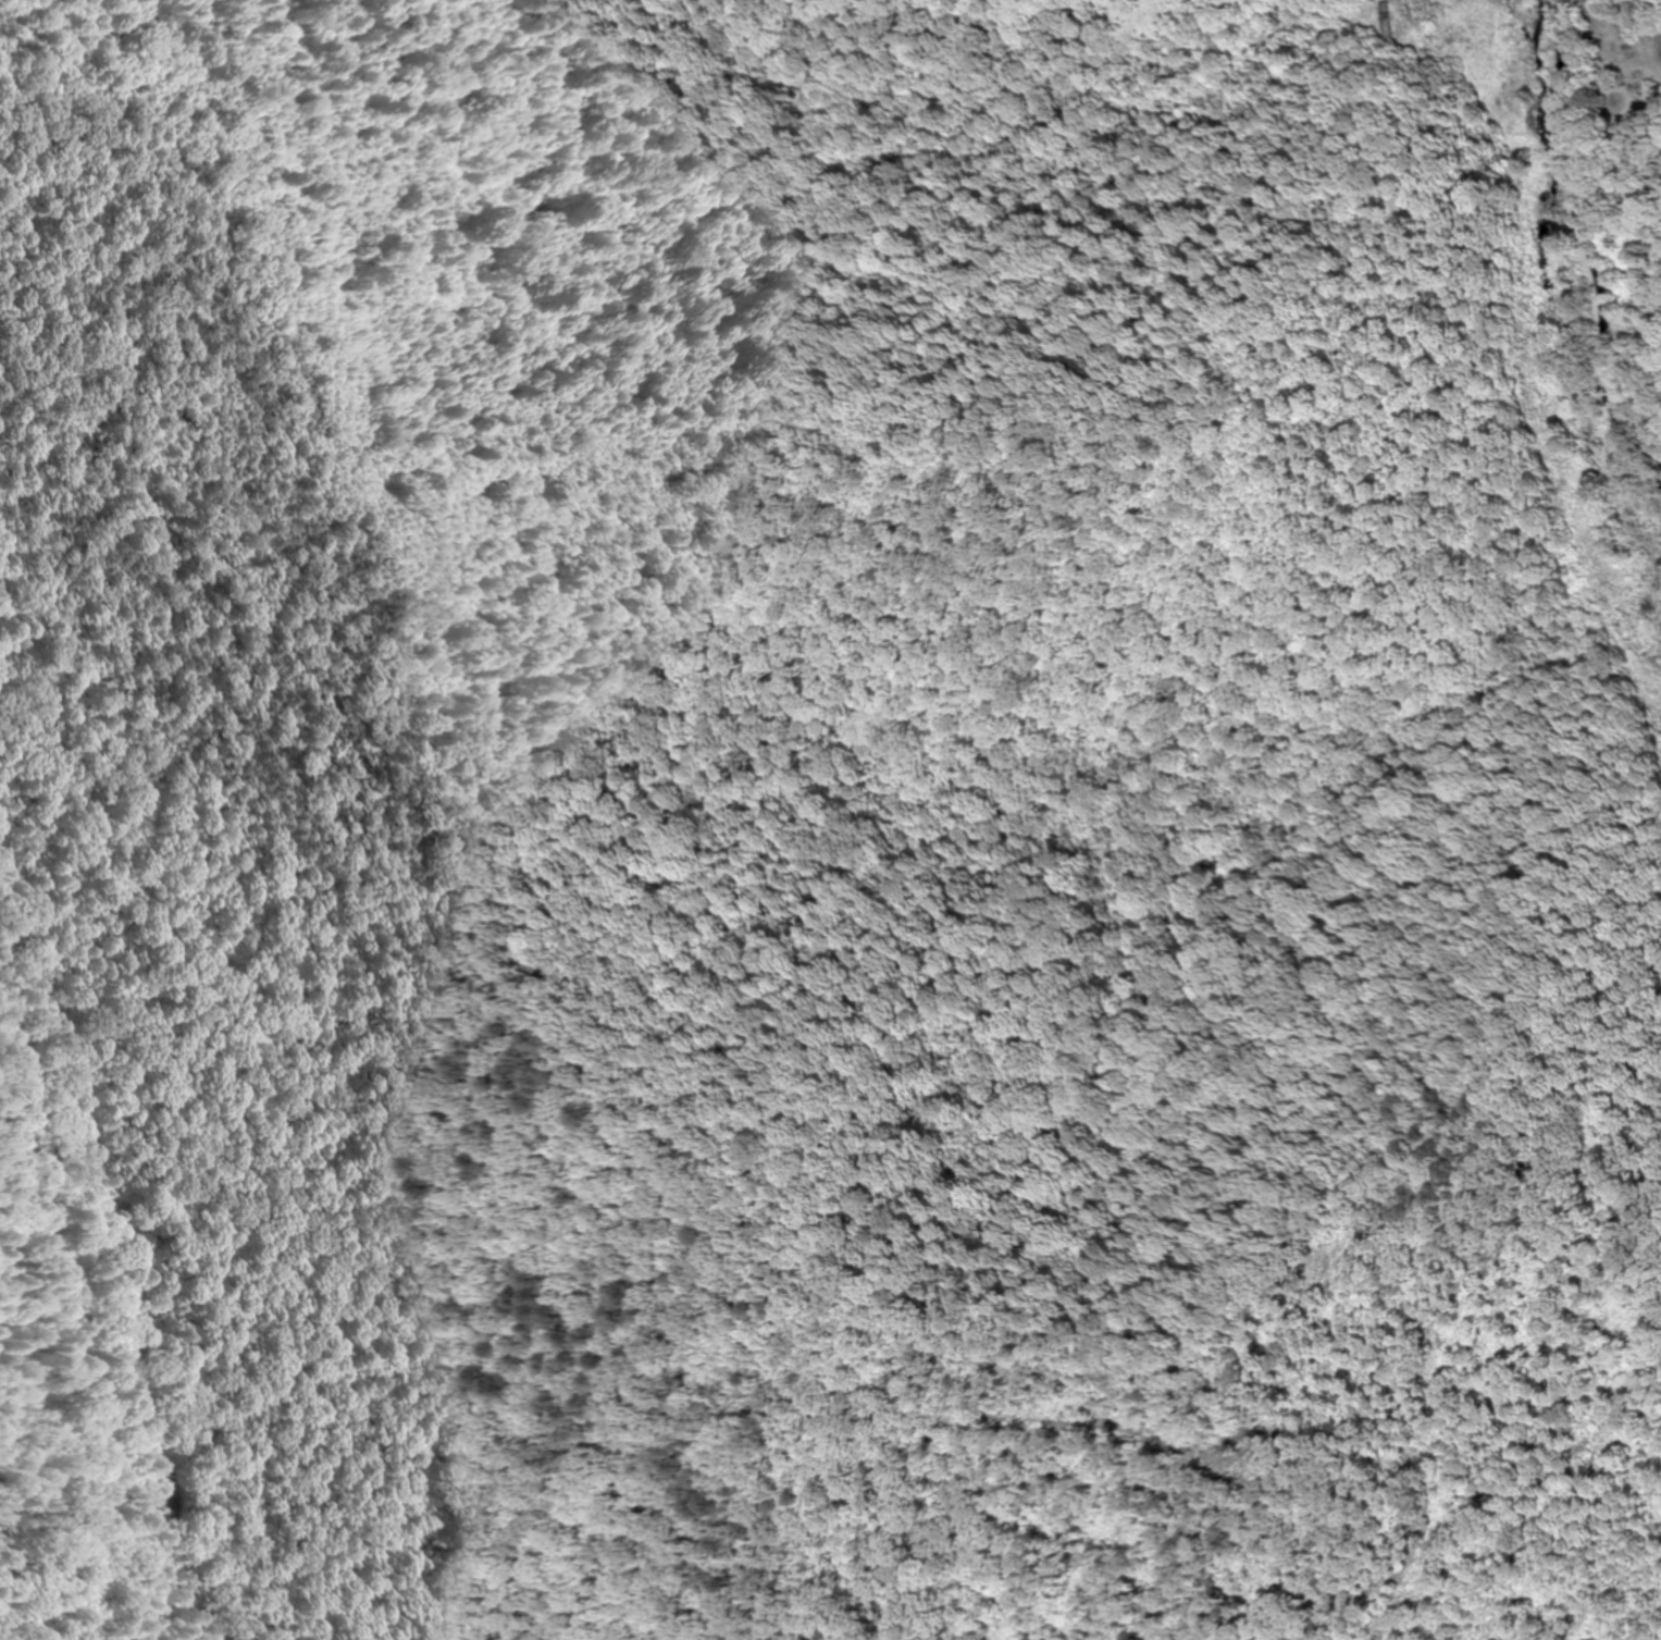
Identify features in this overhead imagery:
building: (1381, 23)
road: (1588, 247)

